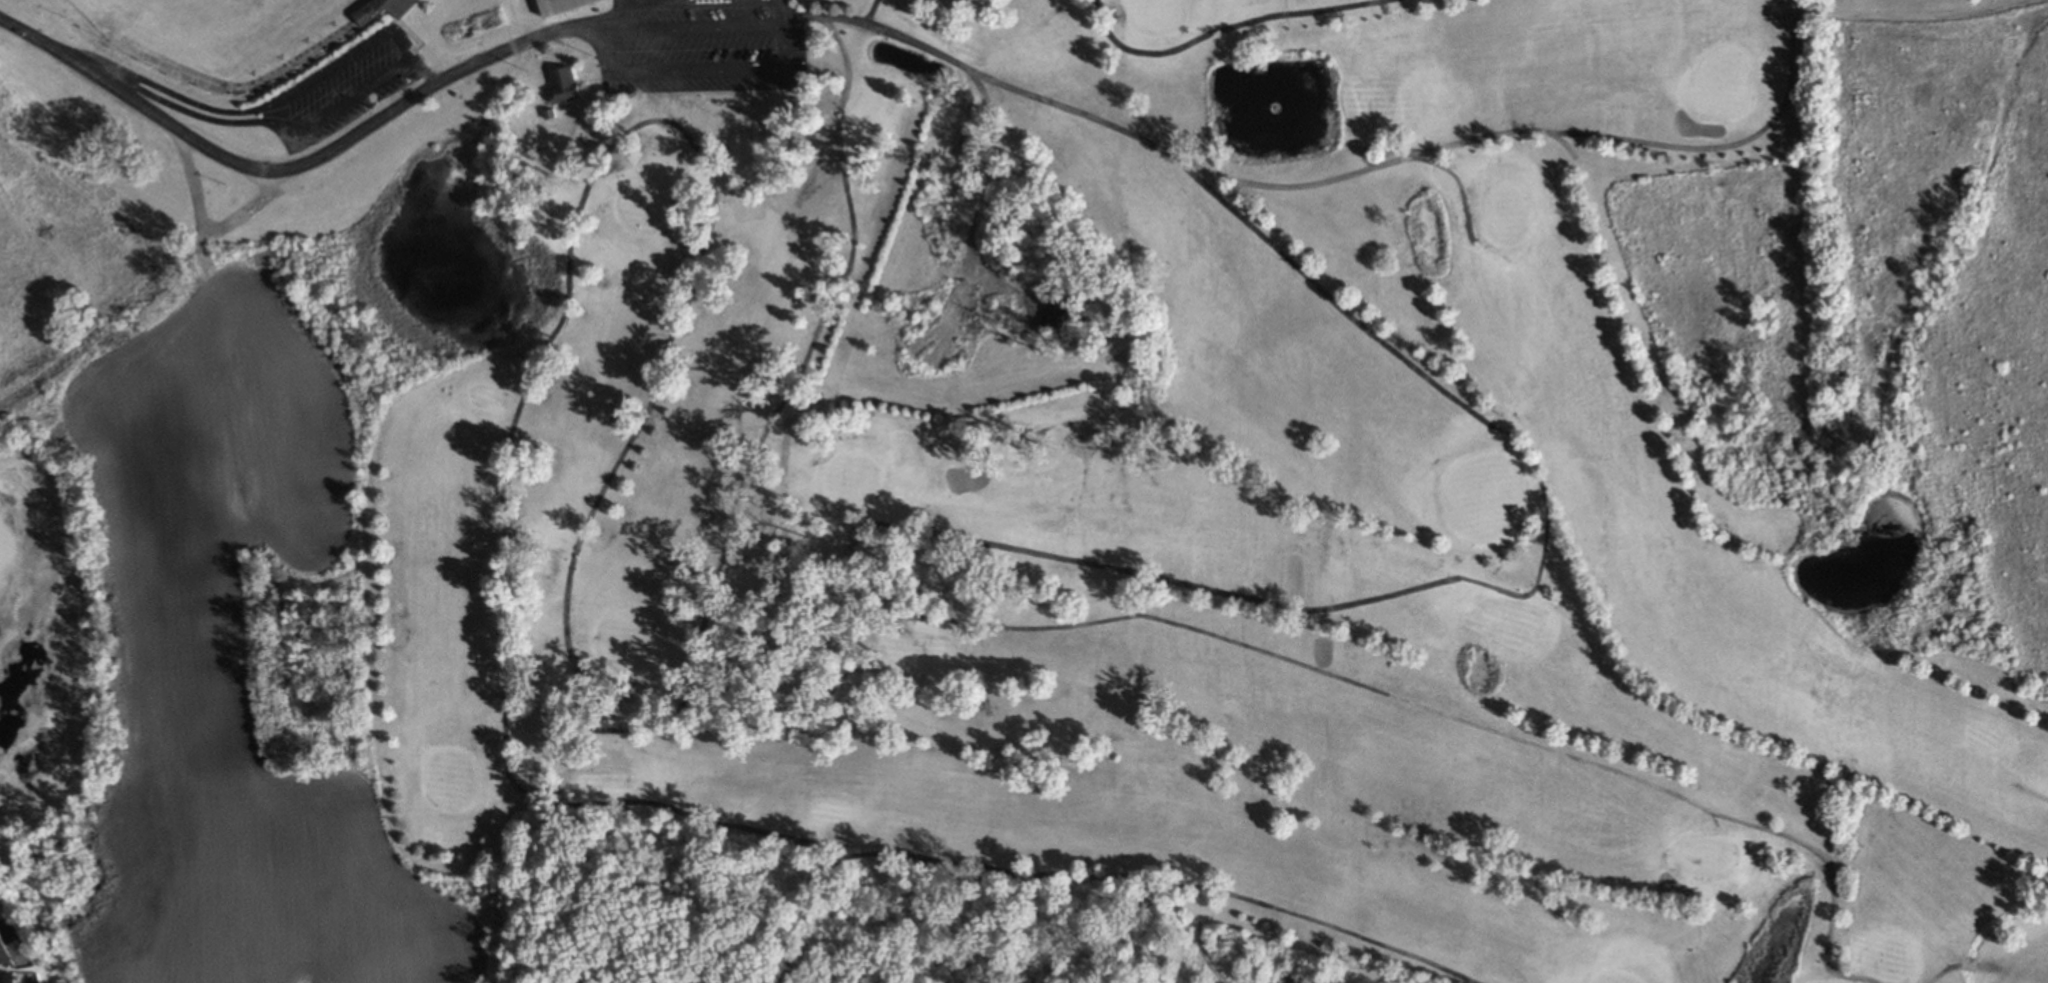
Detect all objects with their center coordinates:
road: (626, 0)
building: (558, 5)
building: (379, 8)
road: (610, 17)
road: (411, 54)
road: (785, 56)
road: (96, 64)
road: (424, 70)
building: (563, 83)
road: (290, 166)
park: (1181, 472)
building: (4, 954)
building: (5, 976)

